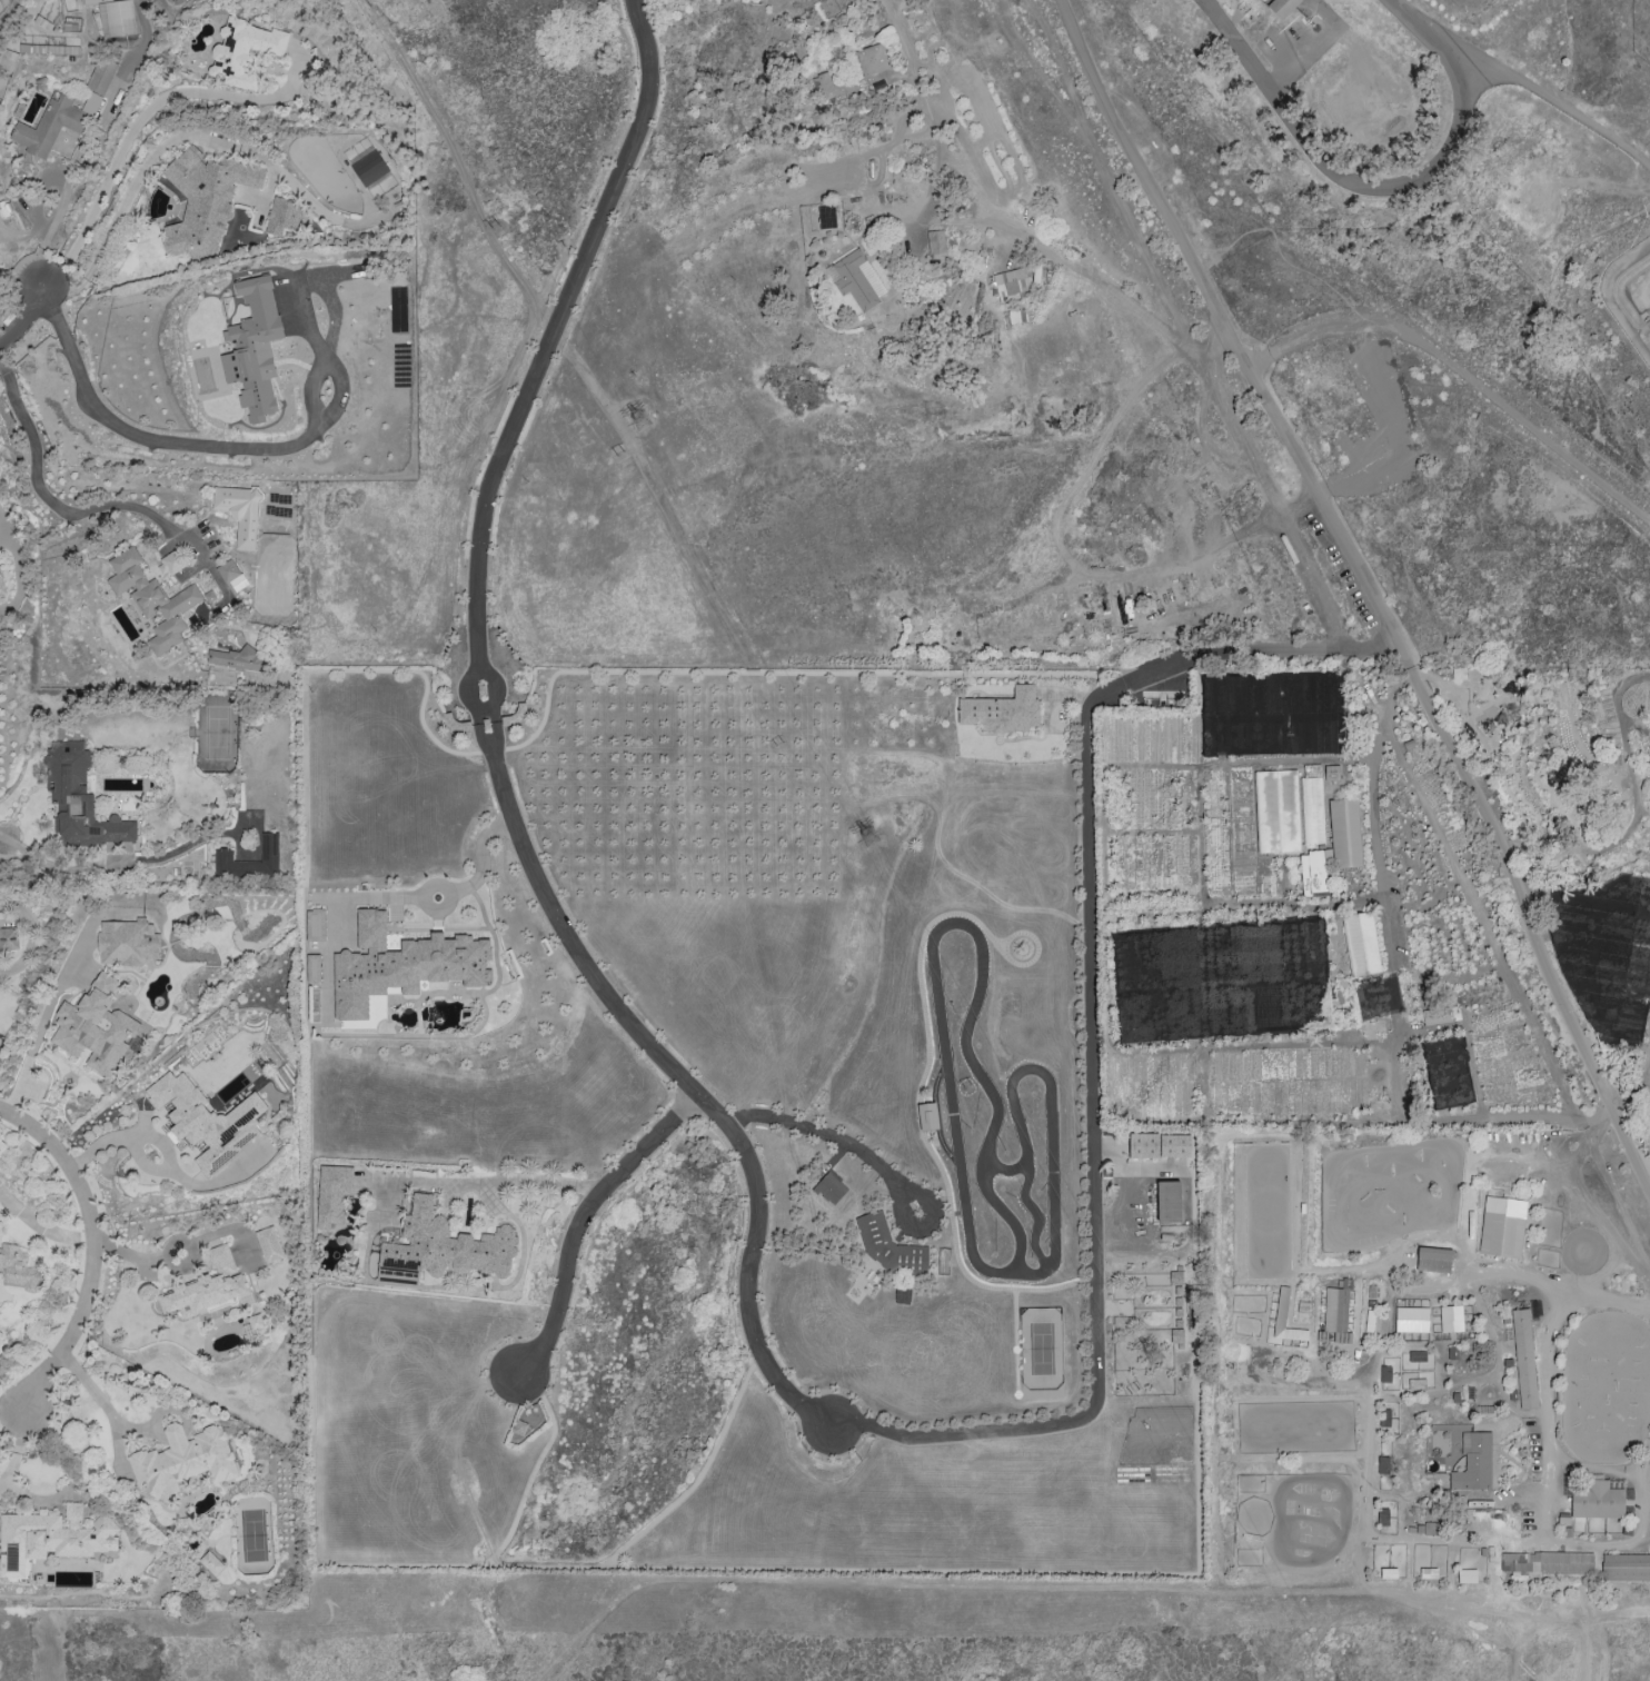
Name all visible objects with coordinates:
building: (1282, 7)
building: (117, 18)
building: (120, 40)
building: (59, 49)
building: (243, 51)
building: (8, 59)
building: (872, 59)
road: (1030, 62)
building: (101, 76)
building: (834, 86)
road: (926, 106)
road: (141, 120)
building: (56, 122)
road: (85, 138)
road: (166, 145)
building: (369, 168)
road: (1382, 188)
building: (205, 199)
building: (281, 216)
building: (826, 217)
power tower: (496, 225)
road: (47, 236)
building: (936, 241)
road: (1276, 247)
road: (1066, 266)
building: (856, 279)
building: (1012, 281)
building: (1016, 316)
road: (23, 319)
road: (558, 325)
road: (1209, 340)
building: (254, 348)
road: (1462, 369)
power tower: (640, 420)
road: (1203, 435)
road: (205, 444)
power tower: (622, 458)
road: (123, 462)
road: (44, 494)
building: (240, 513)
road: (1, 529)
road: (193, 567)
building: (228, 570)
building: (1, 585)
road: (1372, 590)
building: (152, 598)
road: (1340, 631)
building: (237, 657)
road: (935, 676)
road: (496, 687)
road: (469, 689)
building: (1002, 710)
road: (496, 738)
road: (483, 742)
power tower: (778, 743)
road: (1628, 767)
building: (1332, 773)
building: (79, 798)
building: (1290, 808)
building: (1344, 833)
power tower: (868, 838)
road: (1376, 842)
building: (223, 854)
road: (120, 866)
building: (1314, 871)
road: (387, 897)
road: (8, 904)
building: (315, 925)
building: (8, 938)
building: (127, 942)
building: (1361, 944)
building: (401, 965)
building: (312, 967)
road: (57, 986)
building: (1366, 998)
building: (1440, 1015)
building: (95, 1026)
road: (689, 1086)
building: (927, 1116)
road: (1452, 1118)
building: (207, 1120)
road: (834, 1138)
road: (157, 1140)
building: (1157, 1146)
road: (1095, 1173)
road: (219, 1177)
road: (471, 1182)
building: (829, 1188)
building: (332, 1193)
building: (1169, 1202)
road: (578, 1220)
road: (40, 1226)
building: (1502, 1226)
road: (1417, 1232)
building: (269, 1244)
building: (446, 1244)
building: (888, 1245)
road: (91, 1251)
road: (160, 1260)
building: (1433, 1260)
building: (19, 1267)
building: (210, 1285)
building: (1179, 1296)
building: (1281, 1307)
building: (1336, 1309)
building: (1411, 1319)
building: (1451, 1319)
power tower: (1152, 1355)
building: (1417, 1356)
building: (1523, 1359)
building: (1384, 1374)
building: (1417, 1384)
road: (1547, 1387)
power tower: (1133, 1391)
road: (10, 1406)
road: (107, 1410)
road: (1322, 1420)
building: (519, 1428)
road: (1364, 1448)
building: (182, 1460)
building: (1473, 1463)
road: (1498, 1493)
building: (1596, 1500)
building: (1383, 1516)
road: (1300, 1525)
building: (1423, 1529)
road: (1626, 1538)
building: (49, 1540)
building: (1547, 1562)
building: (211, 1563)
building: (1626, 1568)
building: (1388, 1573)
building: (1428, 1573)
building: (1467, 1575)
road: (1022, 1589)
road: (1559, 1619)

